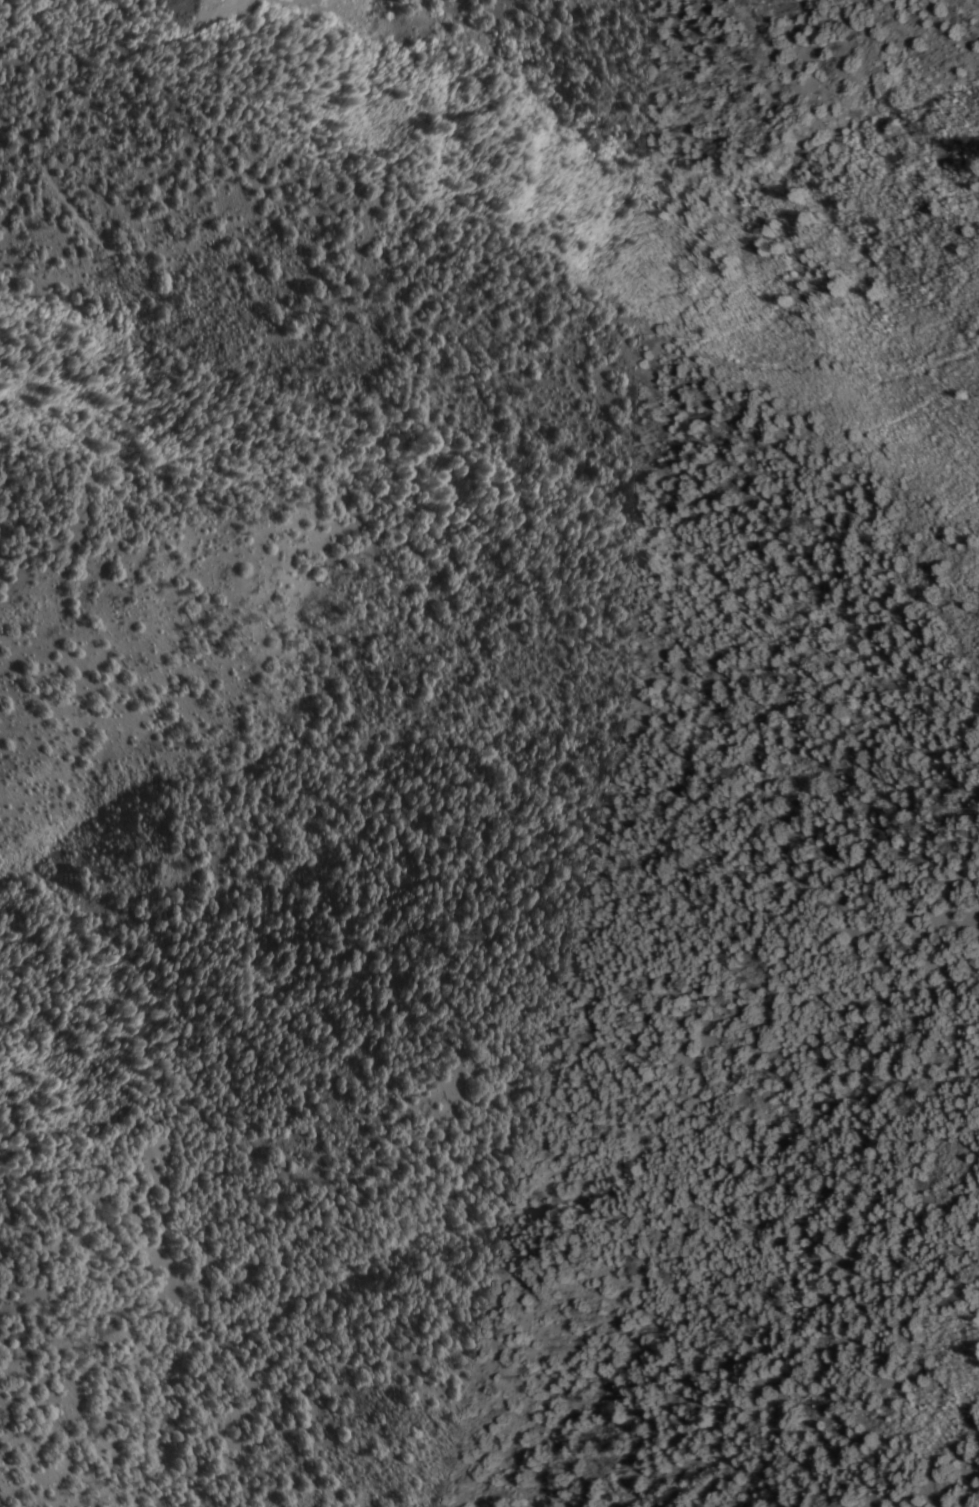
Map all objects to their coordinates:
road: (898, 55)
road: (961, 226)

